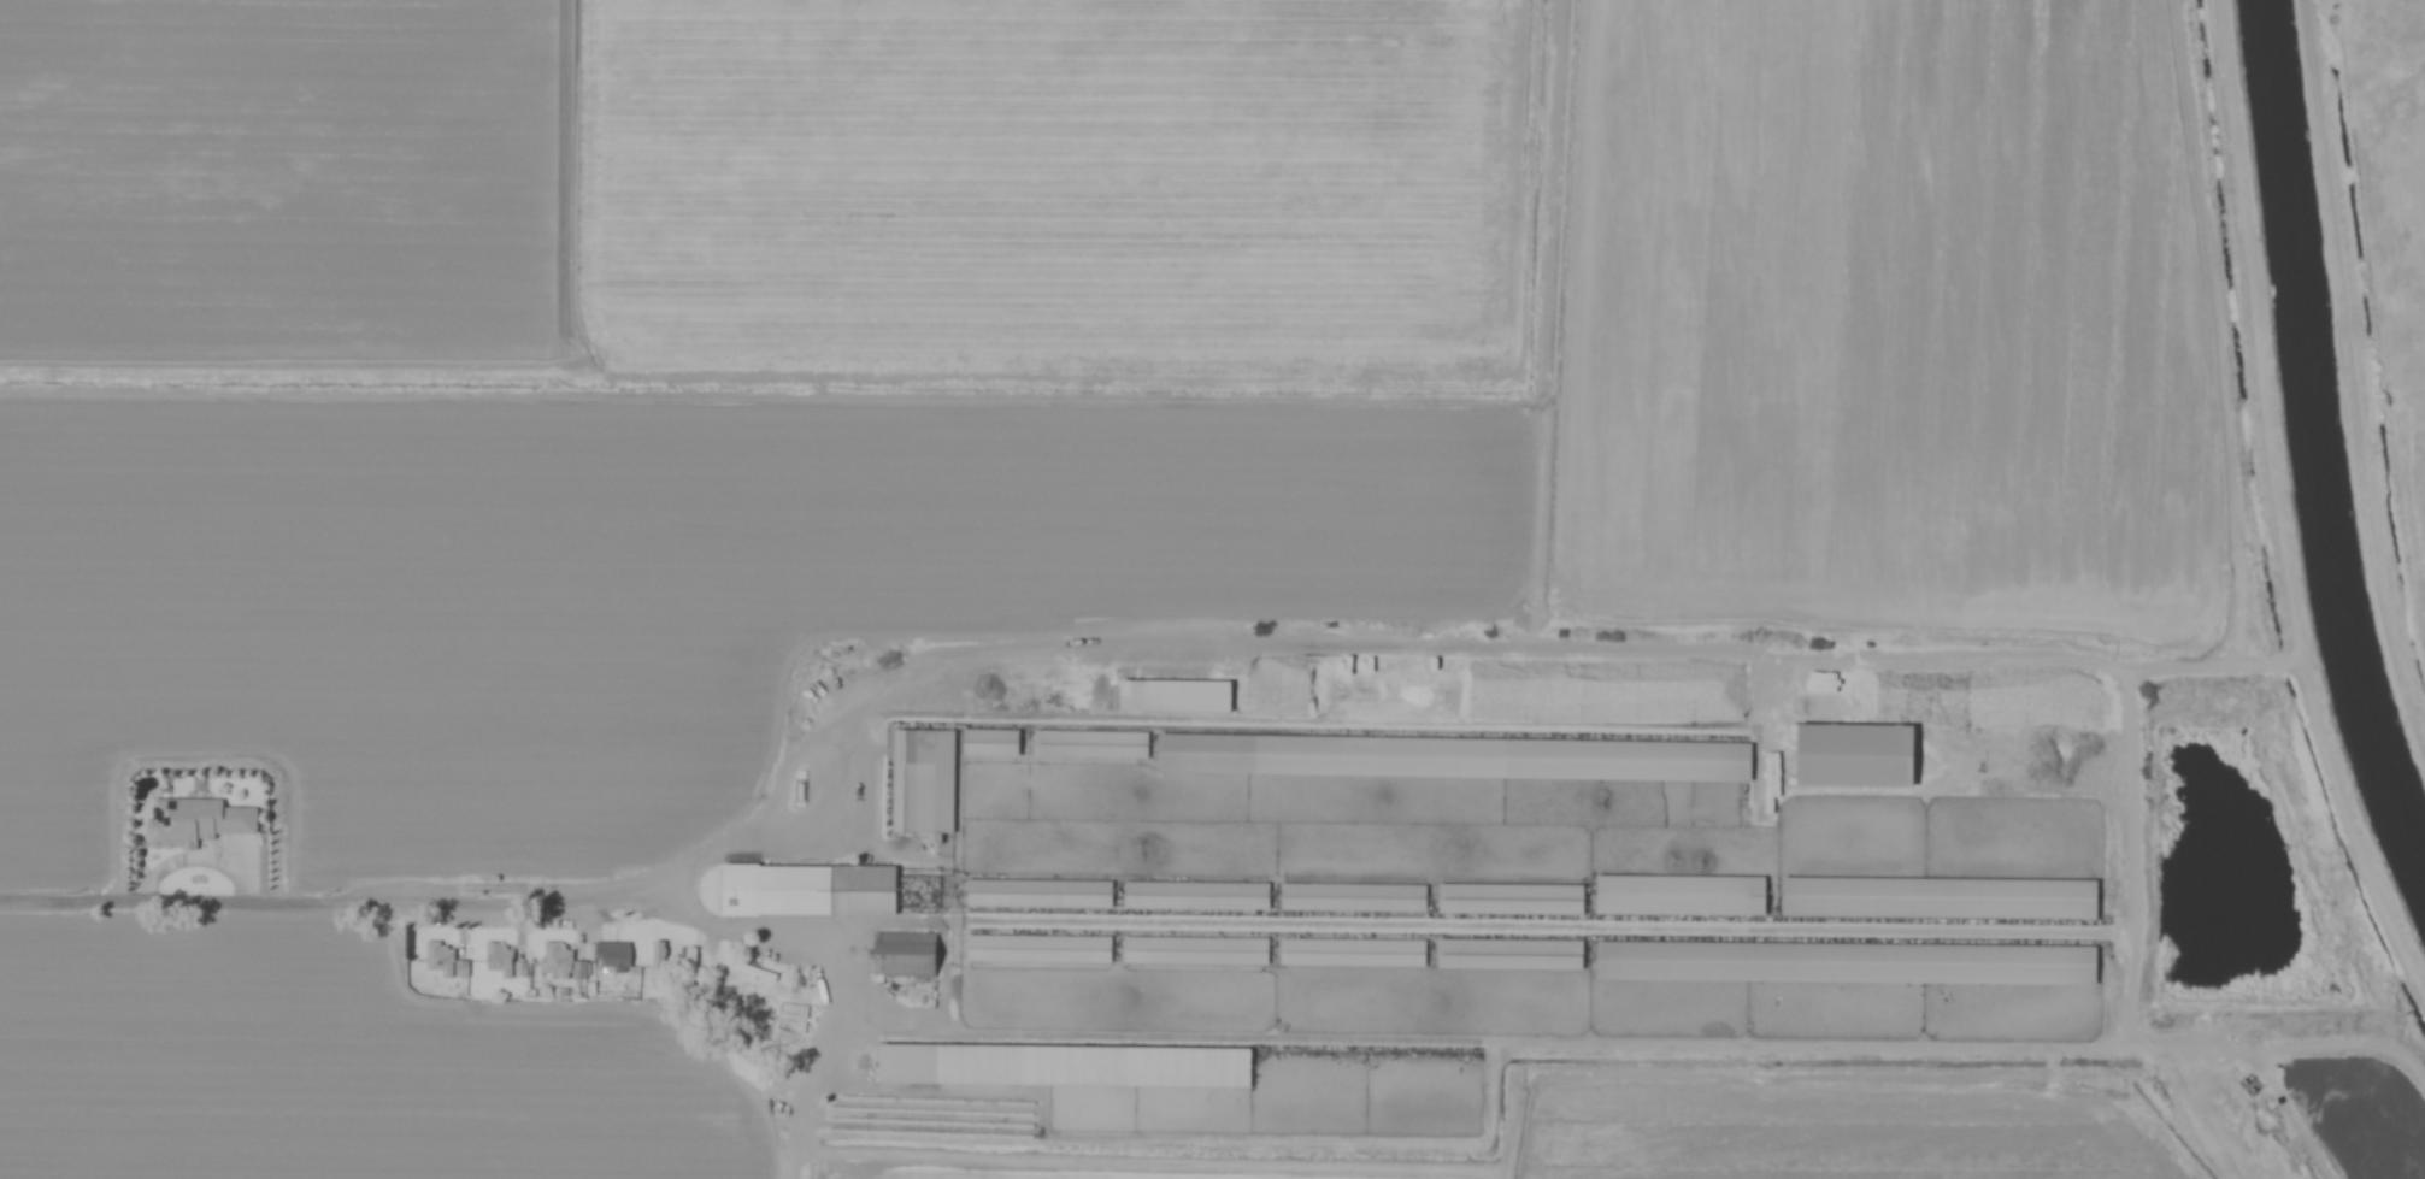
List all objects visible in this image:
crop: (990, 503)
building: (1179, 695)
building: (995, 742)
building: (1236, 754)
building: (1865, 755)
building: (1707, 761)
building: (926, 783)
building: (198, 821)
road: (2131, 830)
building: (814, 890)
building: (1036, 892)
building: (1200, 895)
building: (1685, 895)
building: (1867, 897)
road: (339, 898)
building: (1514, 898)
building: (1042, 949)
building: (614, 955)
building: (445, 957)
building: (505, 957)
building: (559, 962)
building: (1852, 962)
building: (581, 969)
building: (1069, 1066)

